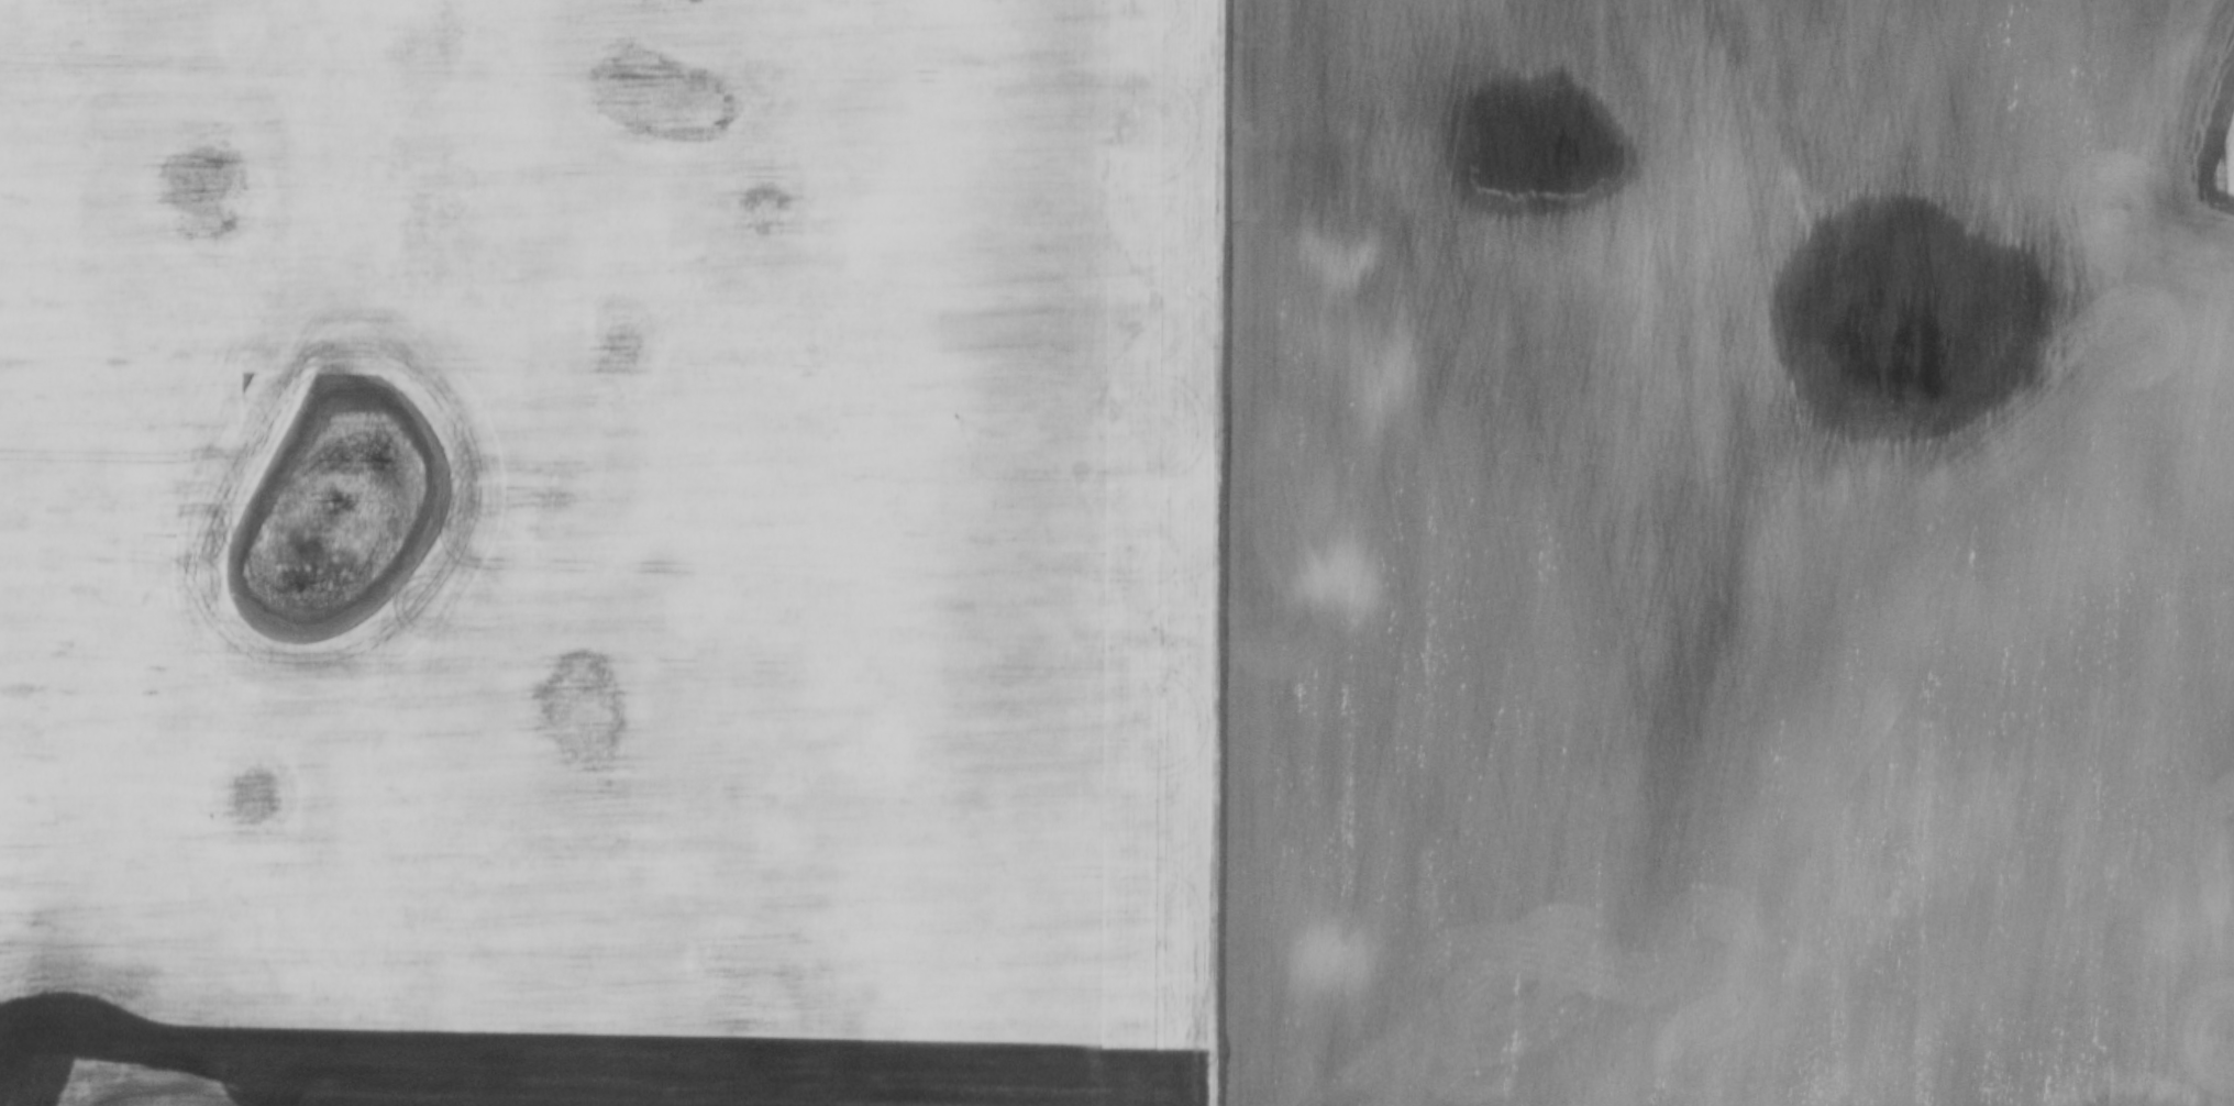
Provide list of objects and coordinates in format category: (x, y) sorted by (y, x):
road: (1220, 553)

